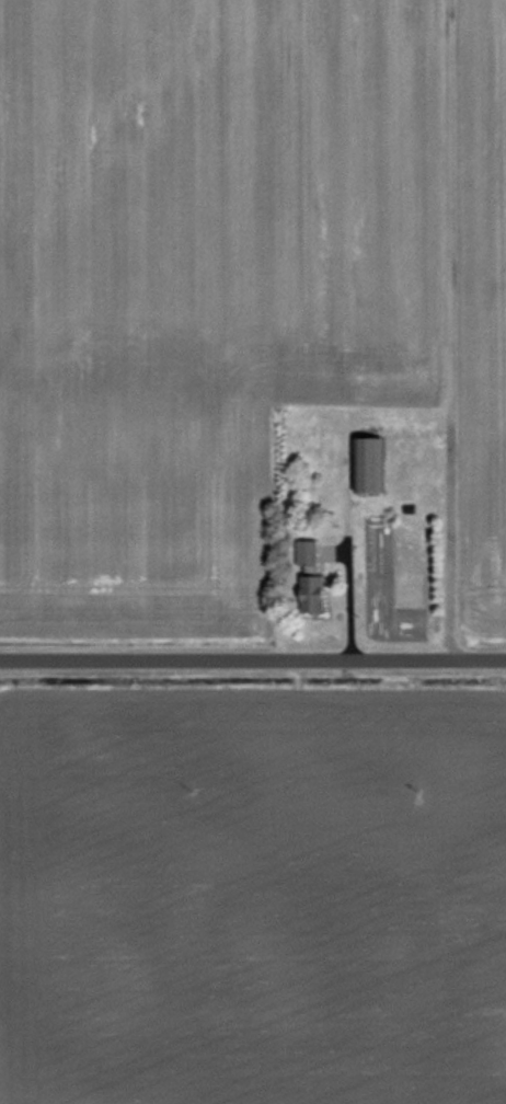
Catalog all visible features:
building: (372, 464)
building: (312, 575)
road: (253, 659)

